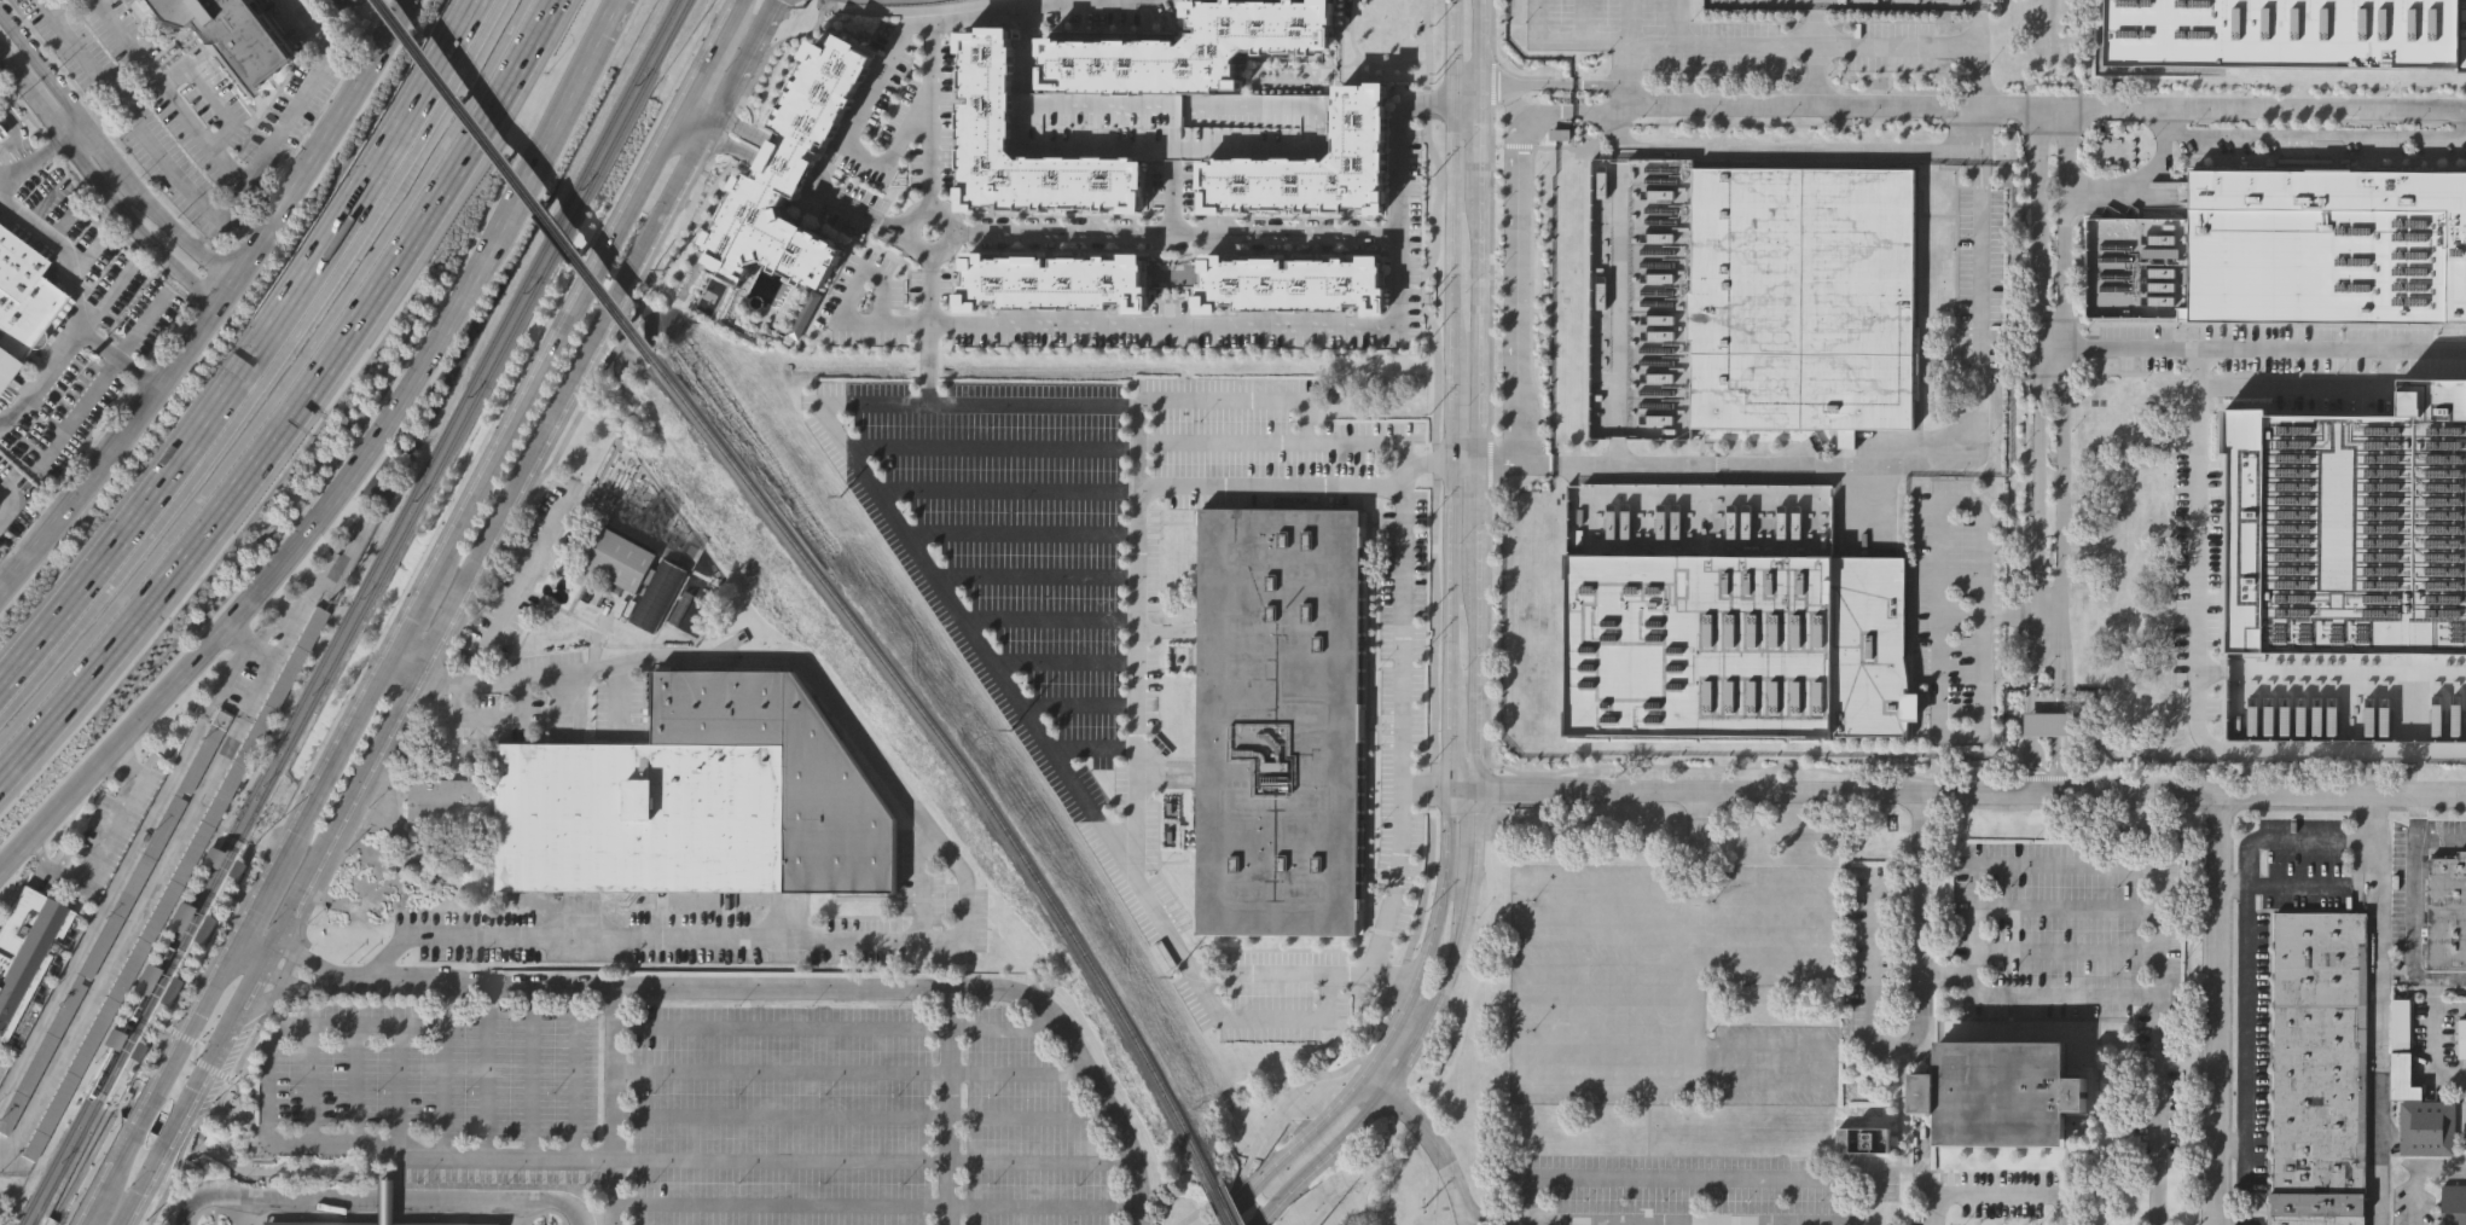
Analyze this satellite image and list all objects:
road: (52, 4)
road: (1034, 5)
power substation: (1851, 5)
road: (904, 8)
road: (727, 16)
road: (1630, 22)
road: (1678, 22)
building: (2287, 31)
parking lot: (1658, 35)
building: (236, 36)
road: (1542, 37)
road: (1588, 39)
road: (1835, 46)
parking lot: (1891, 46)
building: (1189, 48)
road: (1026, 50)
road: (1629, 65)
road: (7, 66)
road: (698, 71)
road: (1815, 75)
road: (1511, 82)
building: (984, 88)
road: (205, 92)
road: (164, 93)
road: (39, 106)
road: (93, 108)
road: (2010, 108)
road: (569, 109)
road: (922, 116)
road: (694, 121)
building: (1171, 123)
parking garage: (1171, 123)
road: (19, 130)
road: (849, 130)
building: (1560, 130)
road: (68, 132)
road: (739, 134)
road: (2319, 134)
road: (1981, 135)
parking lot: (2319, 140)
street lamp: (1462, 145)
road: (1781, 150)
road: (726, 152)
building: (1315, 156)
road: (789, 161)
road: (30, 162)
road: (1451, 166)
road: (110, 167)
building: (789, 176)
road: (777, 178)
railway: (518, 181)
road: (816, 186)
road: (810, 193)
road: (1173, 197)
road: (266, 198)
road: (213, 211)
road: (864, 221)
road: (135, 232)
road: (1509, 232)
road: (1261, 234)
building: (2327, 242)
road: (939, 243)
road: (2030, 245)
parking lot: (1980, 279)
building: (1050, 280)
building: (1288, 284)
road: (1980, 290)
street lamp: (1466, 291)
building: (22, 295)
building: (1803, 297)
road: (76, 301)
road: (849, 302)
road: (103, 303)
road: (1618, 306)
road: (224, 313)
road: (1203, 324)
road: (140, 327)
road: (2252, 349)
road: (256, 356)
road: (547, 356)
building: (4, 366)
road: (268, 372)
road: (1435, 376)
road: (41, 382)
road: (280, 382)
road: (2310, 390)
road: (1478, 394)
road: (1451, 396)
road: (2061, 399)
road: (2037, 400)
road: (296, 401)
street lamp: (1468, 404)
road: (76, 412)
railway: (456, 430)
road: (1222, 443)
road: (992, 445)
road: (1404, 451)
road: (1464, 460)
road: (1427, 461)
road: (1514, 463)
road: (1772, 466)
road: (520, 475)
road: (1005, 488)
road: (1270, 490)
road: (1721, 492)
building: (1556, 495)
road: (8, 501)
railway: (398, 518)
building: (2350, 519)
road: (1019, 533)
street lamp: (1460, 542)
parking lot: (1078, 548)
road: (1983, 559)
road: (2197, 559)
road: (290, 570)
road: (1451, 573)
building: (638, 575)
road: (1033, 575)
road: (5, 582)
parking lot: (2194, 584)
road: (472, 600)
road: (506, 608)
parking lot: (1954, 610)
road: (1048, 619)
road: (404, 628)
road: (245, 643)
building: (1737, 643)
road: (1137, 644)
road: (1487, 649)
road: (405, 662)
road: (1062, 662)
street lamp: (1464, 668)
road: (2331, 672)
road: (268, 680)
road: (1011, 699)
road: (1075, 703)
road: (2047, 703)
building: (1280, 719)
building: (2052, 721)
building: (2042, 722)
building: (1185, 733)
road: (1450, 737)
road: (2060, 741)
road: (2032, 742)
road: (1091, 750)
road: (2346, 751)
railway: (953, 759)
road: (330, 766)
road: (2048, 778)
road: (2270, 780)
road: (1432, 785)
road: (1462, 789)
road: (1423, 790)
road: (1971, 790)
building: (684, 797)
road: (2416, 817)
street lamp: (1457, 820)
road: (98, 847)
road: (2076, 866)
building: (231, 870)
road: (959, 870)
building: (174, 881)
road: (1423, 882)
road: (2233, 883)
road: (1443, 884)
road: (1675, 884)
road: (2413, 889)
road: (255, 908)
road: (2067, 908)
building: (2448, 911)
building: (112, 918)
building: (188, 924)
road: (1762, 924)
road: (1827, 924)
road: (1698, 937)
road: (1457, 947)
road: (2245, 950)
road: (2067, 953)
building: (31, 958)
road: (1762, 964)
road: (1260, 974)
road: (1398, 977)
road: (1522, 983)
parking lot: (1666, 983)
road: (760, 987)
road: (2053, 993)
road: (1867, 999)
road: (2217, 1009)
road: (2447, 1011)
building: (139, 1018)
road: (2429, 1024)
road: (1397, 1026)
road: (837, 1028)
road: (226, 1032)
road: (2372, 1032)
road: (1348, 1033)
building: (2462, 1037)
railway: (99, 1043)
railway: (129, 1044)
railway: (127, 1057)
railway: (138, 1066)
building: (2320, 1068)
road: (442, 1072)
road: (852, 1072)
road: (485, 1073)
road: (529, 1073)
road: (574, 1073)
road: (163, 1074)
building: (2402, 1075)
road: (1760, 1085)
road: (309, 1086)
road: (353, 1086)
road: (398, 1086)
road: (121, 1096)
parking lot: (718, 1096)
building: (2001, 1096)
road: (238, 1097)
road: (615, 1105)
road: (117, 1107)
road: (948, 1107)
road: (865, 1116)
road: (250, 1126)
building: (2427, 1126)
road: (2465, 1126)
railway: (69, 1131)
road: (1263, 1133)
road: (2229, 1140)
road: (1427, 1143)
building: (1864, 1143)
road: (1298, 1146)
road: (1322, 1157)
road: (559, 1159)
road: (153, 1167)
road: (311, 1172)
road: (1701, 1172)
road: (89, 1173)
road: (2421, 1175)
road: (1998, 1188)
road: (64, 1191)
road: (378, 1195)
building: (381, 1202)
railway: (1223, 1203)
building: (2454, 1203)
road: (877, 1204)
road: (87, 1218)
road: (1624, 1219)
road: (1531, 1221)
road: (1829, 1221)
road: (1830, 1223)
road: (2228, 1223)
building: (337, 1224)

